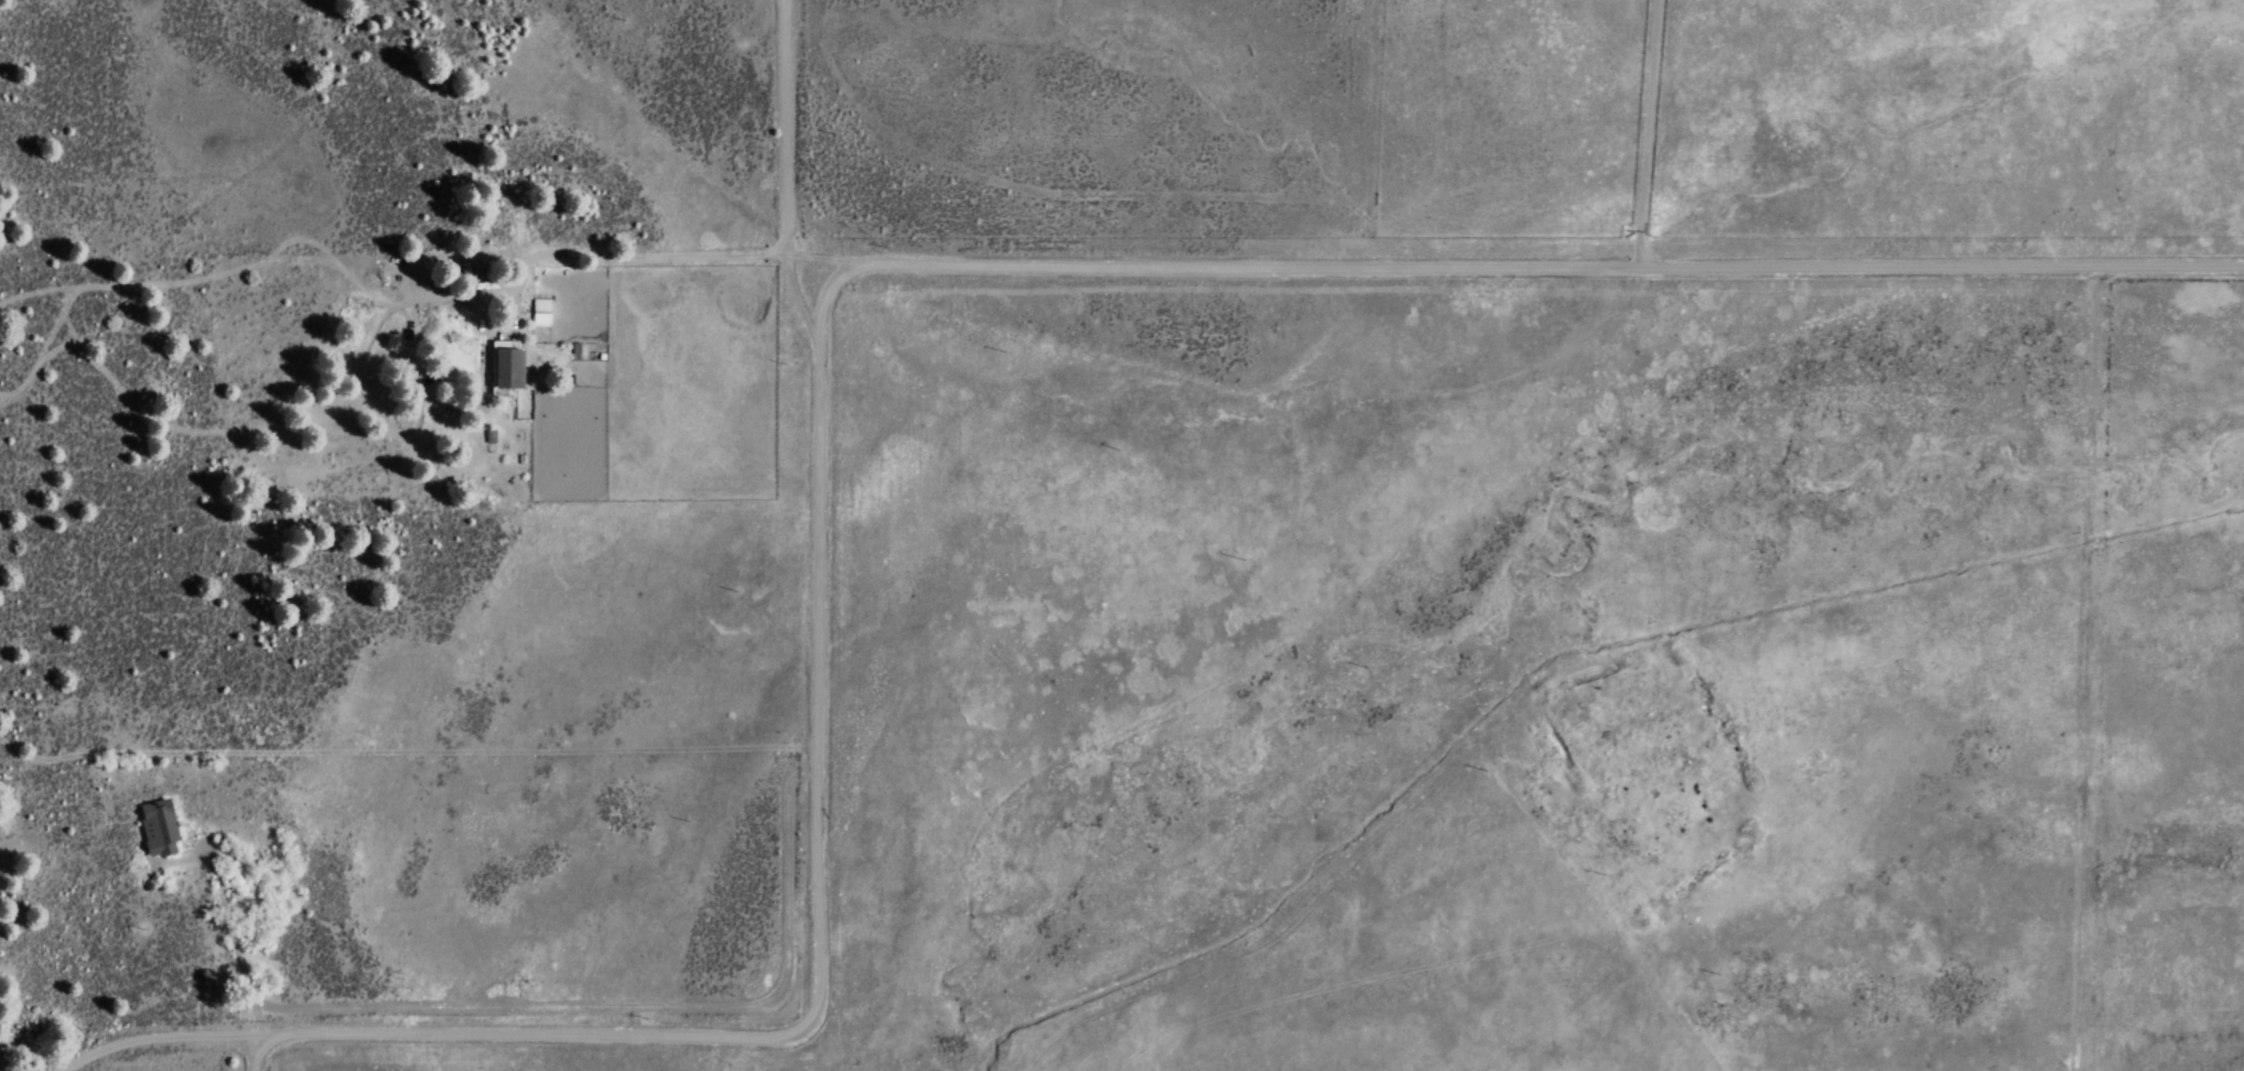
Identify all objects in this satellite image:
road: (1545, 263)
building: (506, 367)
road: (812, 482)
crop: (1680, 496)
building: (155, 826)
road: (427, 1036)
road: (249, 1054)

